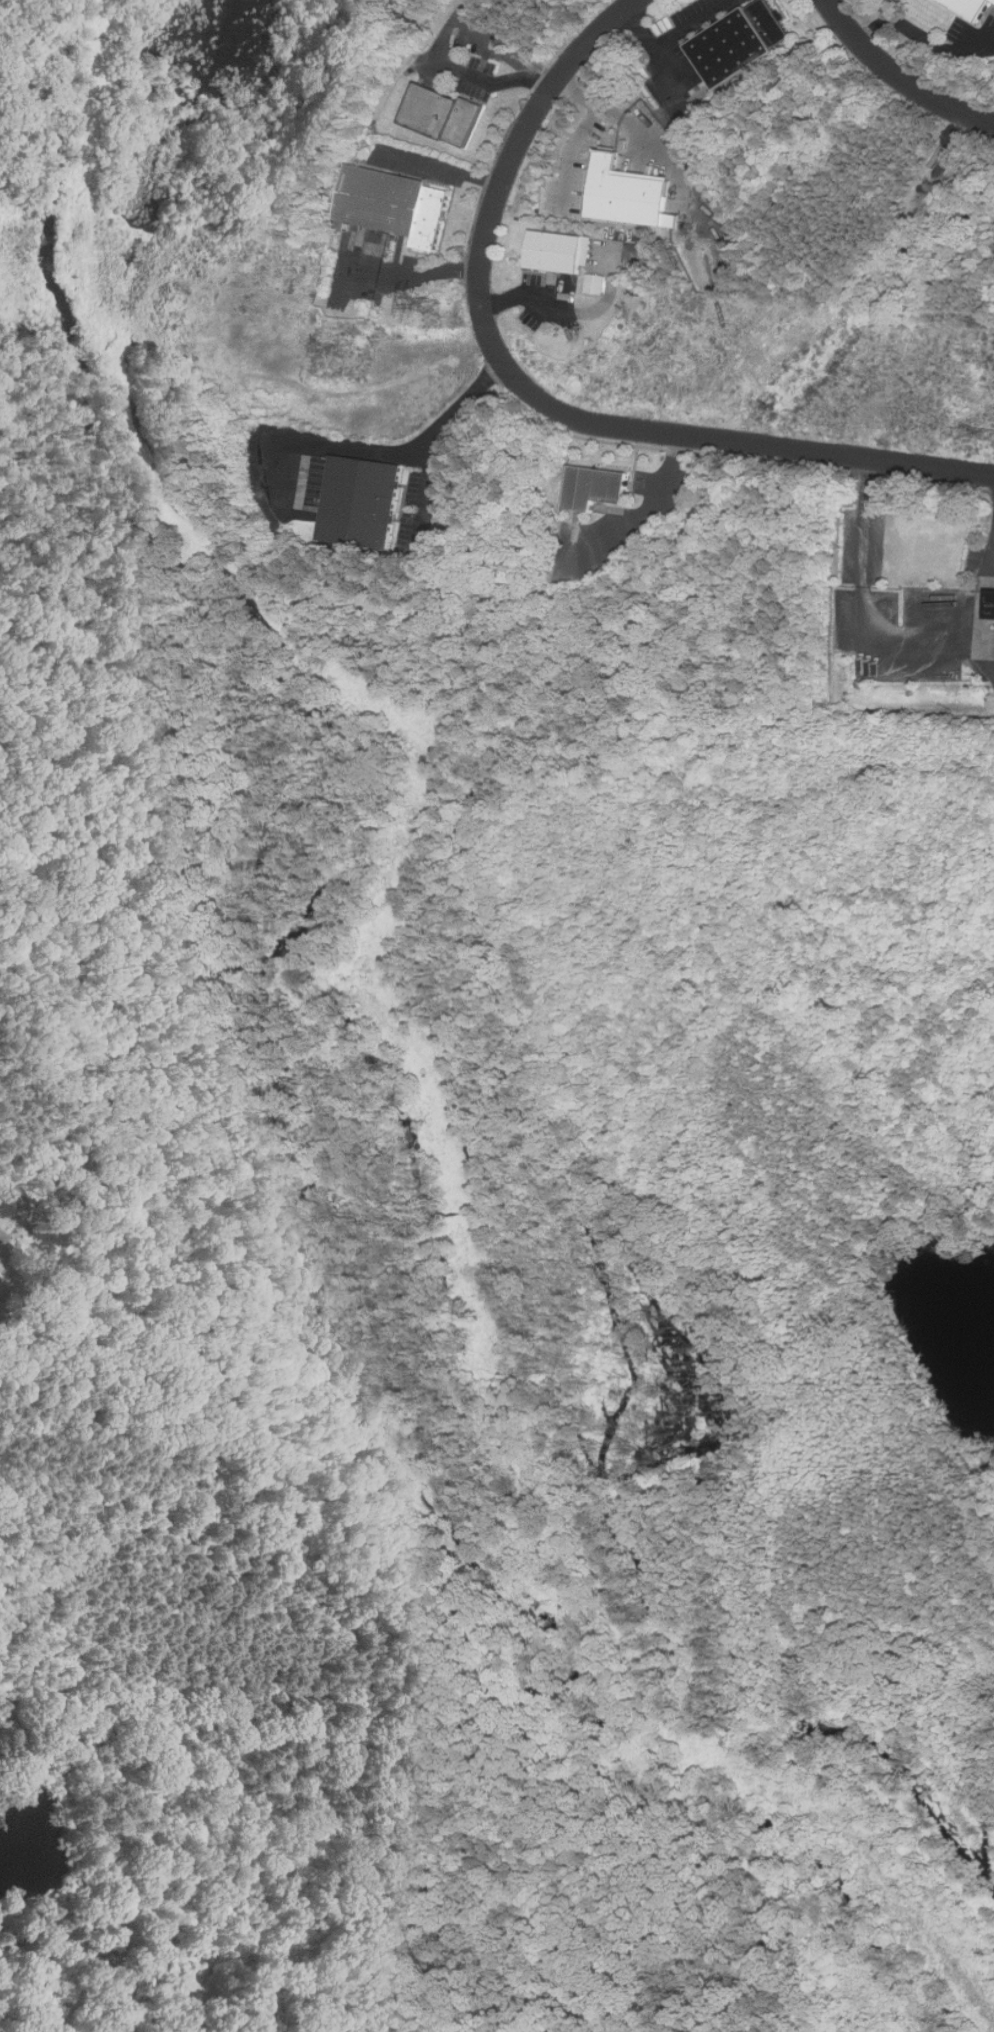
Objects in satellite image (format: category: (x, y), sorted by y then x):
building: (973, 7)
road: (923, 35)
road: (672, 38)
building: (743, 43)
road: (439, 50)
road: (899, 76)
building: (443, 115)
road: (446, 167)
building: (633, 195)
building: (397, 206)
building: (560, 252)
road: (416, 276)
building: (596, 284)
power tower: (435, 306)
road: (573, 311)
power tower: (339, 352)
road: (537, 397)
road: (450, 420)
power tower: (991, 434)
building: (597, 488)
building: (363, 503)
road: (656, 508)
road: (984, 604)
building: (993, 608)
road: (862, 610)
building: (9, 1198)
building: (1, 1266)
building: (0, 1283)
dam: (901, 1355)

